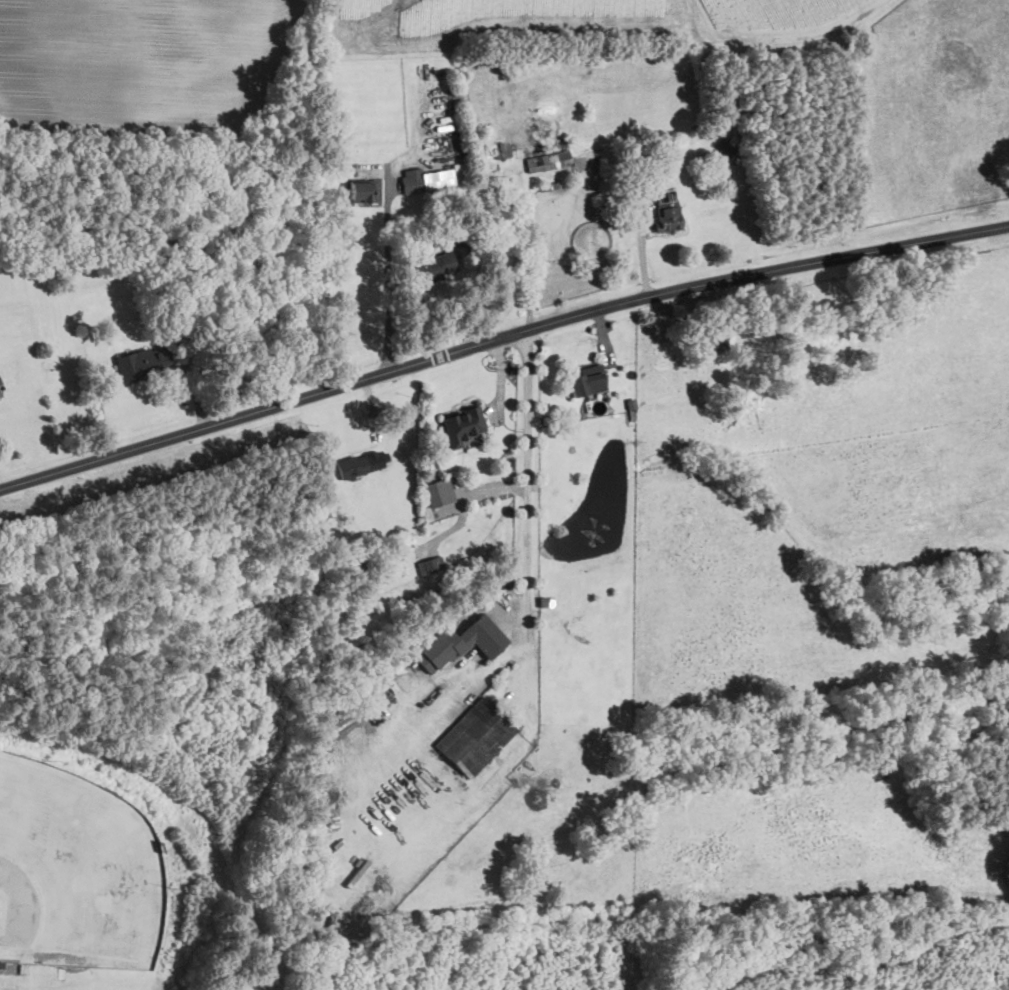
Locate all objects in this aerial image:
building: (725, 147)
building: (504, 148)
building: (546, 161)
building: (426, 179)
building: (364, 191)
building: (668, 210)
building: (436, 266)
road: (389, 270)
road: (499, 336)
building: (146, 361)
building: (588, 381)
building: (1, 391)
building: (464, 425)
building: (360, 463)
building: (439, 492)
road: (530, 510)
building: (428, 564)
building: (461, 643)
building: (474, 746)
park: (74, 871)

